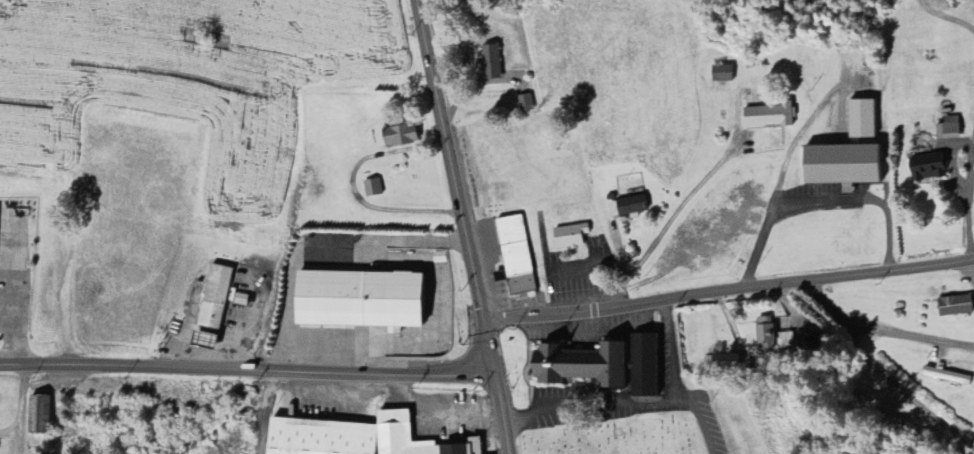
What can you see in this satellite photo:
road: (946, 17)
building: (490, 62)
building: (720, 74)
building: (524, 104)
building: (767, 117)
building: (859, 121)
building: (947, 129)
building: (398, 137)
building: (841, 166)
building: (925, 168)
road: (351, 185)
road: (455, 186)
building: (372, 188)
road: (818, 200)
road: (968, 200)
building: (626, 207)
road: (672, 218)
building: (569, 237)
building: (515, 256)
road: (563, 269)
road: (729, 289)
road: (14, 295)
building: (213, 298)
building: (358, 300)
building: (954, 307)
road: (7, 318)
road: (591, 332)
building: (764, 333)
building: (812, 334)
road: (910, 334)
building: (201, 341)
road: (674, 351)
building: (723, 363)
building: (578, 365)
building: (641, 366)
road: (247, 367)
road: (880, 373)
building: (946, 377)
road: (273, 384)
building: (595, 401)
road: (622, 401)
road: (18, 408)
road: (439, 410)
road: (501, 413)
building: (38, 416)
road: (238, 424)
road: (263, 426)
road: (10, 427)
building: (353, 438)

